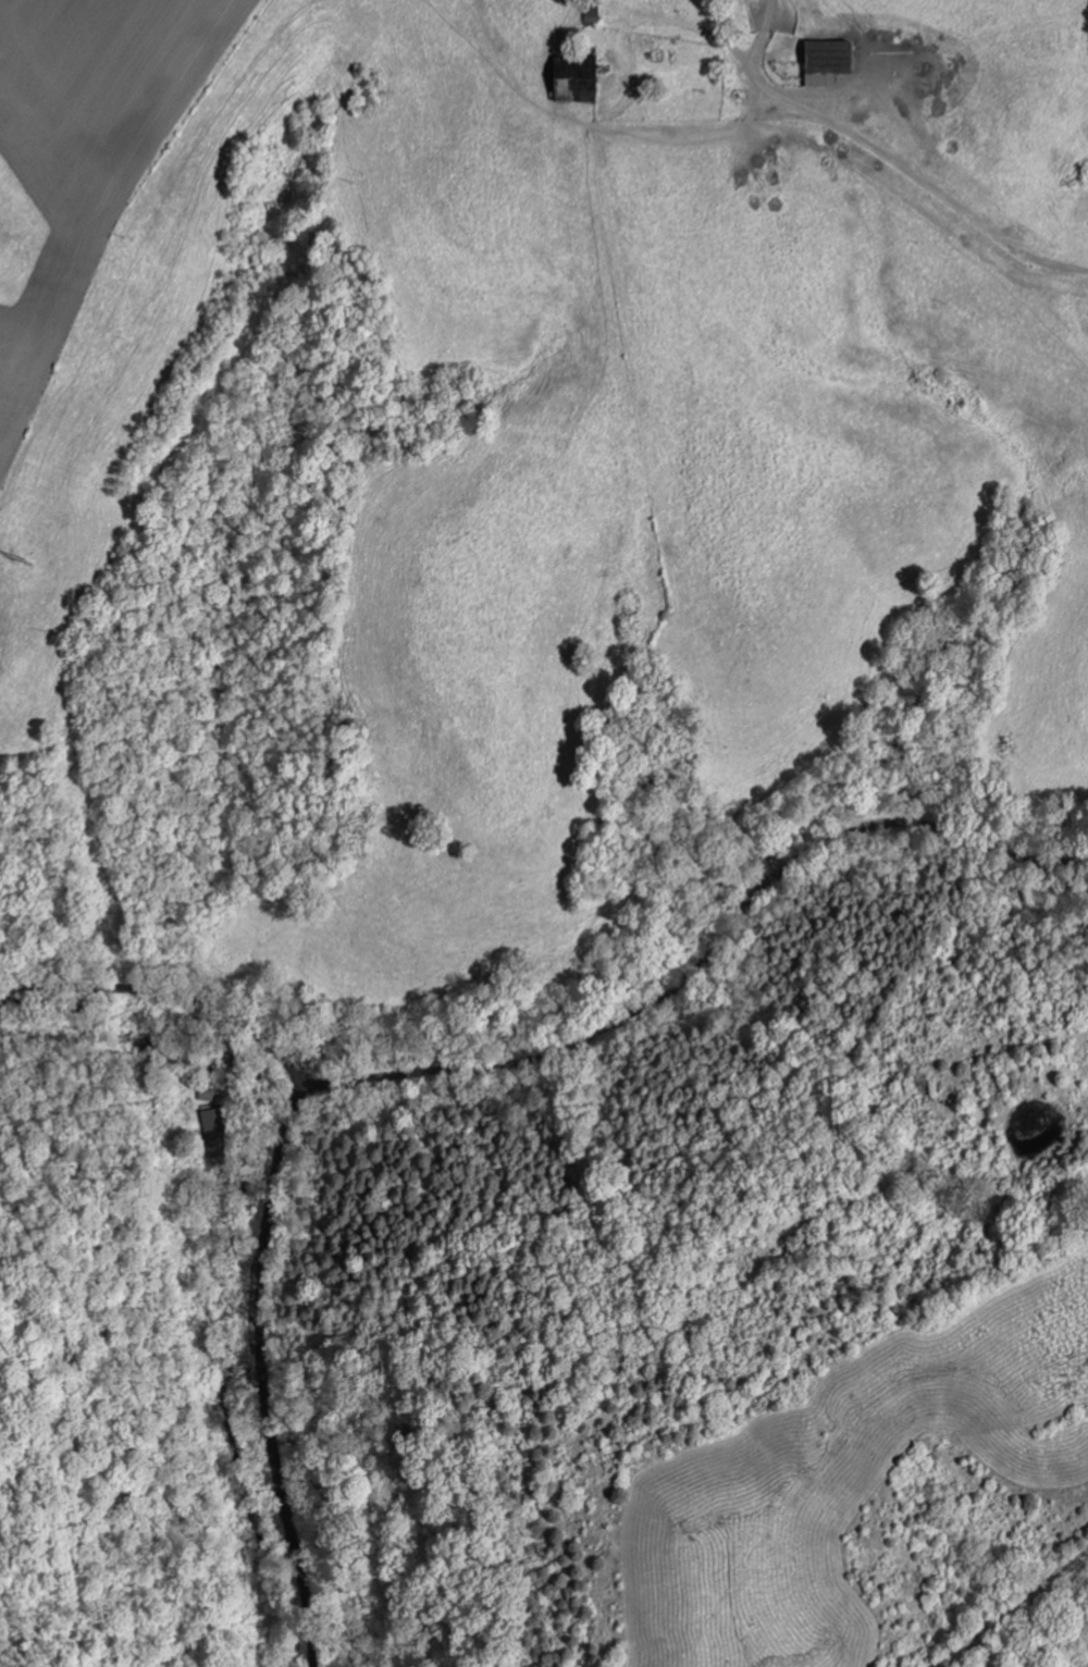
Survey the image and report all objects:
building: (821, 64)
building: (571, 82)
road: (886, 156)
power tower: (15, 565)
road: (708, 959)
building: (211, 1124)
road: (270, 1211)
road: (1013, 1605)

